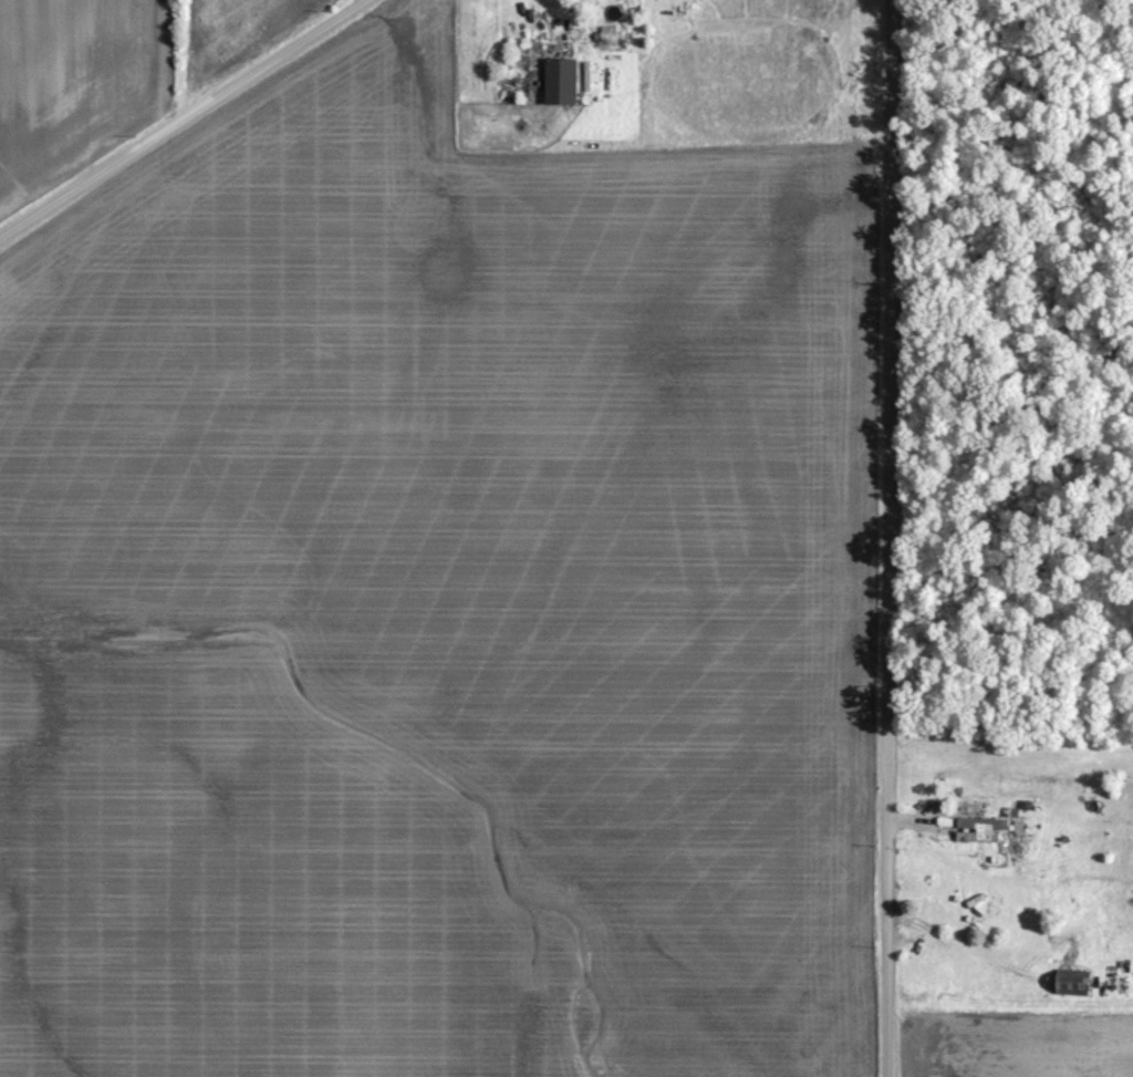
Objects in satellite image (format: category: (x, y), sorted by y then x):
building: (560, 79)
road: (168, 112)
road: (879, 538)
building: (1072, 982)

